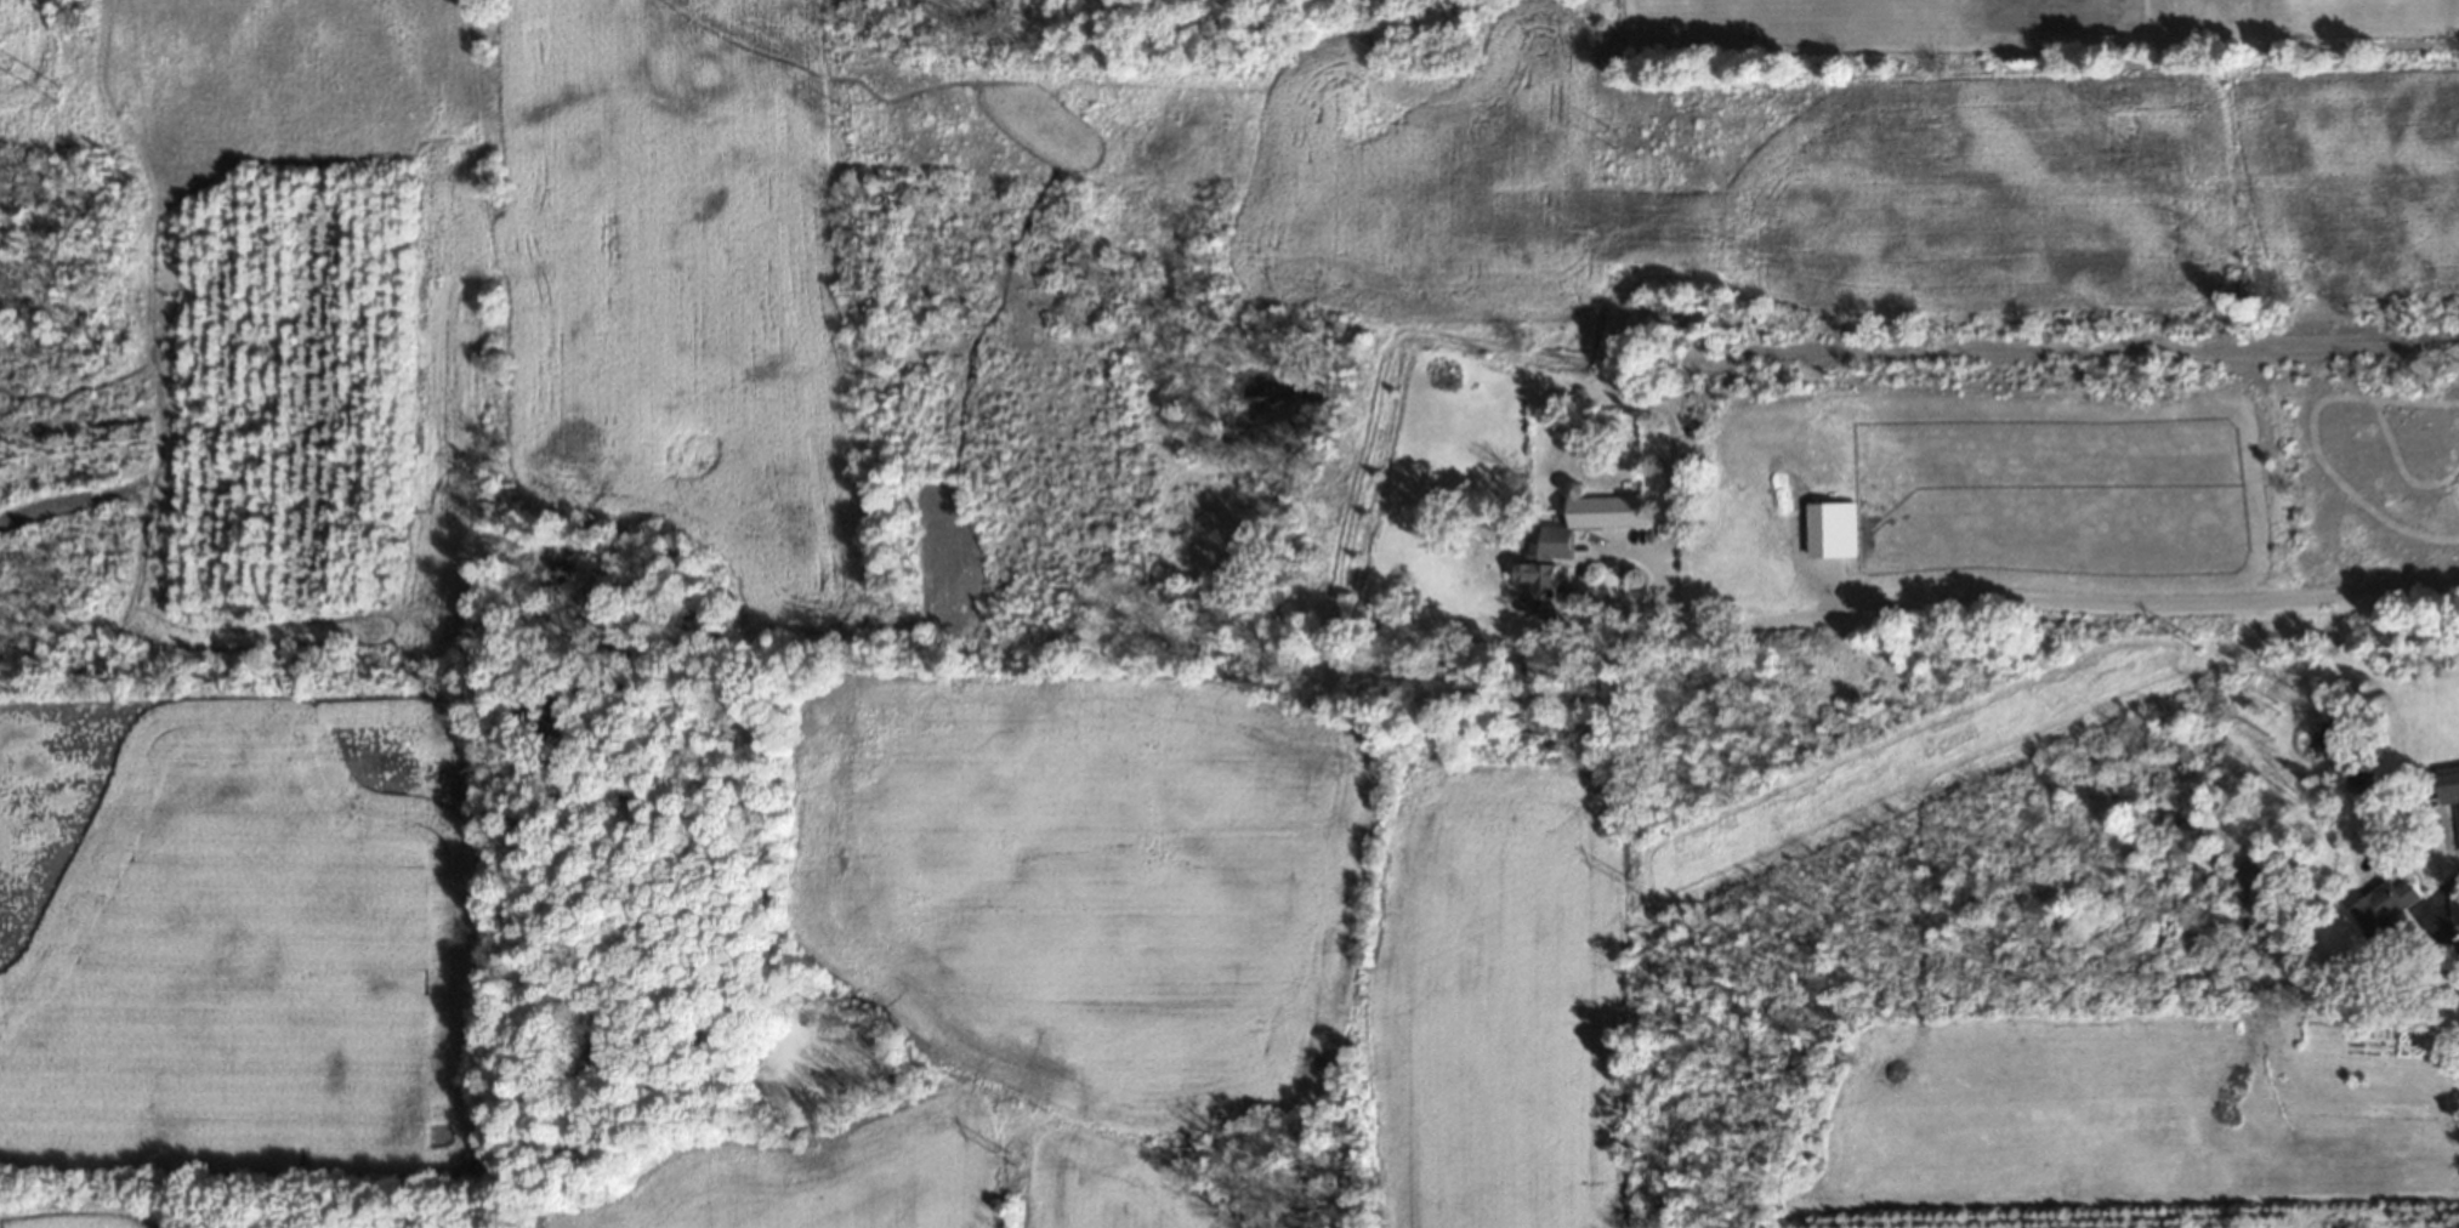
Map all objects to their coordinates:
road: (2296, 47)
power tower: (57, 97)
power tower: (845, 119)
power tower: (2120, 131)
power tower: (1609, 140)
road: (1675, 494)
building: (1574, 545)
power tower: (2193, 644)
building: (2449, 786)
power tower: (1630, 888)
building: (2385, 913)
road: (2442, 929)
power tower: (1010, 1162)

